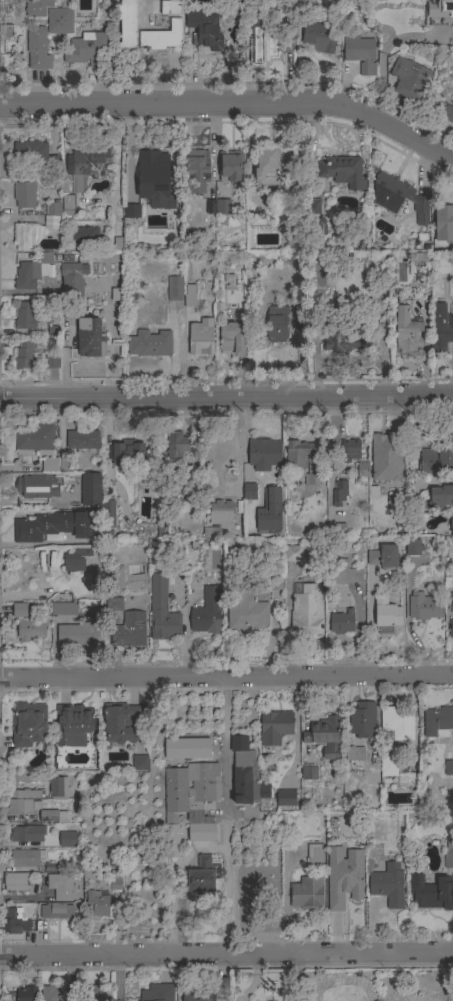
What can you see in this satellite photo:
building: (37, 7)
building: (170, 7)
building: (440, 9)
building: (2, 11)
building: (59, 21)
building: (127, 24)
building: (204, 29)
building: (289, 31)
building: (315, 34)
building: (161, 37)
building: (263, 46)
building: (37, 48)
building: (88, 50)
building: (360, 52)
building: (6, 58)
building: (409, 77)
road: (232, 103)
building: (438, 107)
building: (30, 151)
road: (117, 151)
building: (53, 163)
building: (231, 165)
building: (85, 167)
building: (267, 167)
building: (196, 171)
building: (342, 171)
building: (154, 180)
building: (24, 194)
building: (398, 197)
building: (67, 205)
building: (314, 206)
building: (210, 207)
building: (223, 207)
building: (132, 211)
building: (52, 215)
building: (442, 226)
building: (318, 230)
building: (24, 236)
building: (84, 237)
building: (32, 271)
building: (71, 280)
building: (174, 288)
building: (189, 296)
building: (24, 316)
building: (302, 320)
building: (277, 322)
building: (52, 328)
building: (406, 328)
building: (440, 328)
building: (88, 337)
building: (340, 337)
building: (232, 338)
building: (200, 339)
building: (150, 344)
building: (24, 357)
building: (51, 362)
road: (226, 401)
building: (82, 440)
building: (35, 441)
building: (177, 445)
building: (350, 450)
building: (128, 453)
building: (263, 454)
building: (298, 454)
building: (385, 460)
building: (412, 461)
building: (436, 461)
building: (64, 464)
building: (49, 465)
building: (362, 469)
building: (311, 479)
building: (35, 486)
building: (89, 488)
building: (249, 491)
building: (339, 492)
building: (440, 497)
building: (269, 512)
building: (108, 513)
building: (221, 514)
building: (451, 518)
building: (50, 527)
building: (416, 529)
building: (211, 532)
building: (413, 547)
building: (293, 553)
building: (383, 557)
building: (75, 558)
building: (344, 572)
building: (118, 591)
building: (268, 593)
building: (451, 602)
building: (423, 606)
building: (63, 609)
building: (19, 610)
building: (161, 610)
building: (306, 610)
building: (247, 611)
building: (207, 612)
building: (385, 616)
building: (341, 622)
building: (450, 628)
building: (31, 629)
building: (129, 630)
building: (80, 635)
road: (226, 676)
building: (361, 722)
building: (398, 722)
building: (437, 722)
building: (119, 723)
building: (28, 724)
building: (73, 725)
building: (274, 727)
building: (324, 736)
building: (186, 748)
building: (354, 755)
building: (140, 763)
building: (388, 767)
building: (448, 768)
building: (244, 772)
building: (308, 773)
building: (26, 778)
building: (57, 787)
building: (263, 791)
building: (26, 794)
building: (285, 798)
building: (189, 803)
building: (20, 806)
road: (227, 815)
building: (53, 816)
building: (27, 834)
building: (68, 839)
building: (448, 855)
building: (314, 856)
building: (25, 858)
building: (345, 868)
building: (204, 877)
building: (115, 881)
building: (15, 882)
building: (387, 885)
building: (60, 886)
building: (430, 892)
building: (307, 894)
building: (335, 901)
building: (98, 905)
building: (56, 911)
building: (15, 922)
road: (226, 954)
road: (116, 977)
building: (208, 992)
building: (50, 993)
building: (94, 993)
building: (156, 993)
building: (25, 994)

